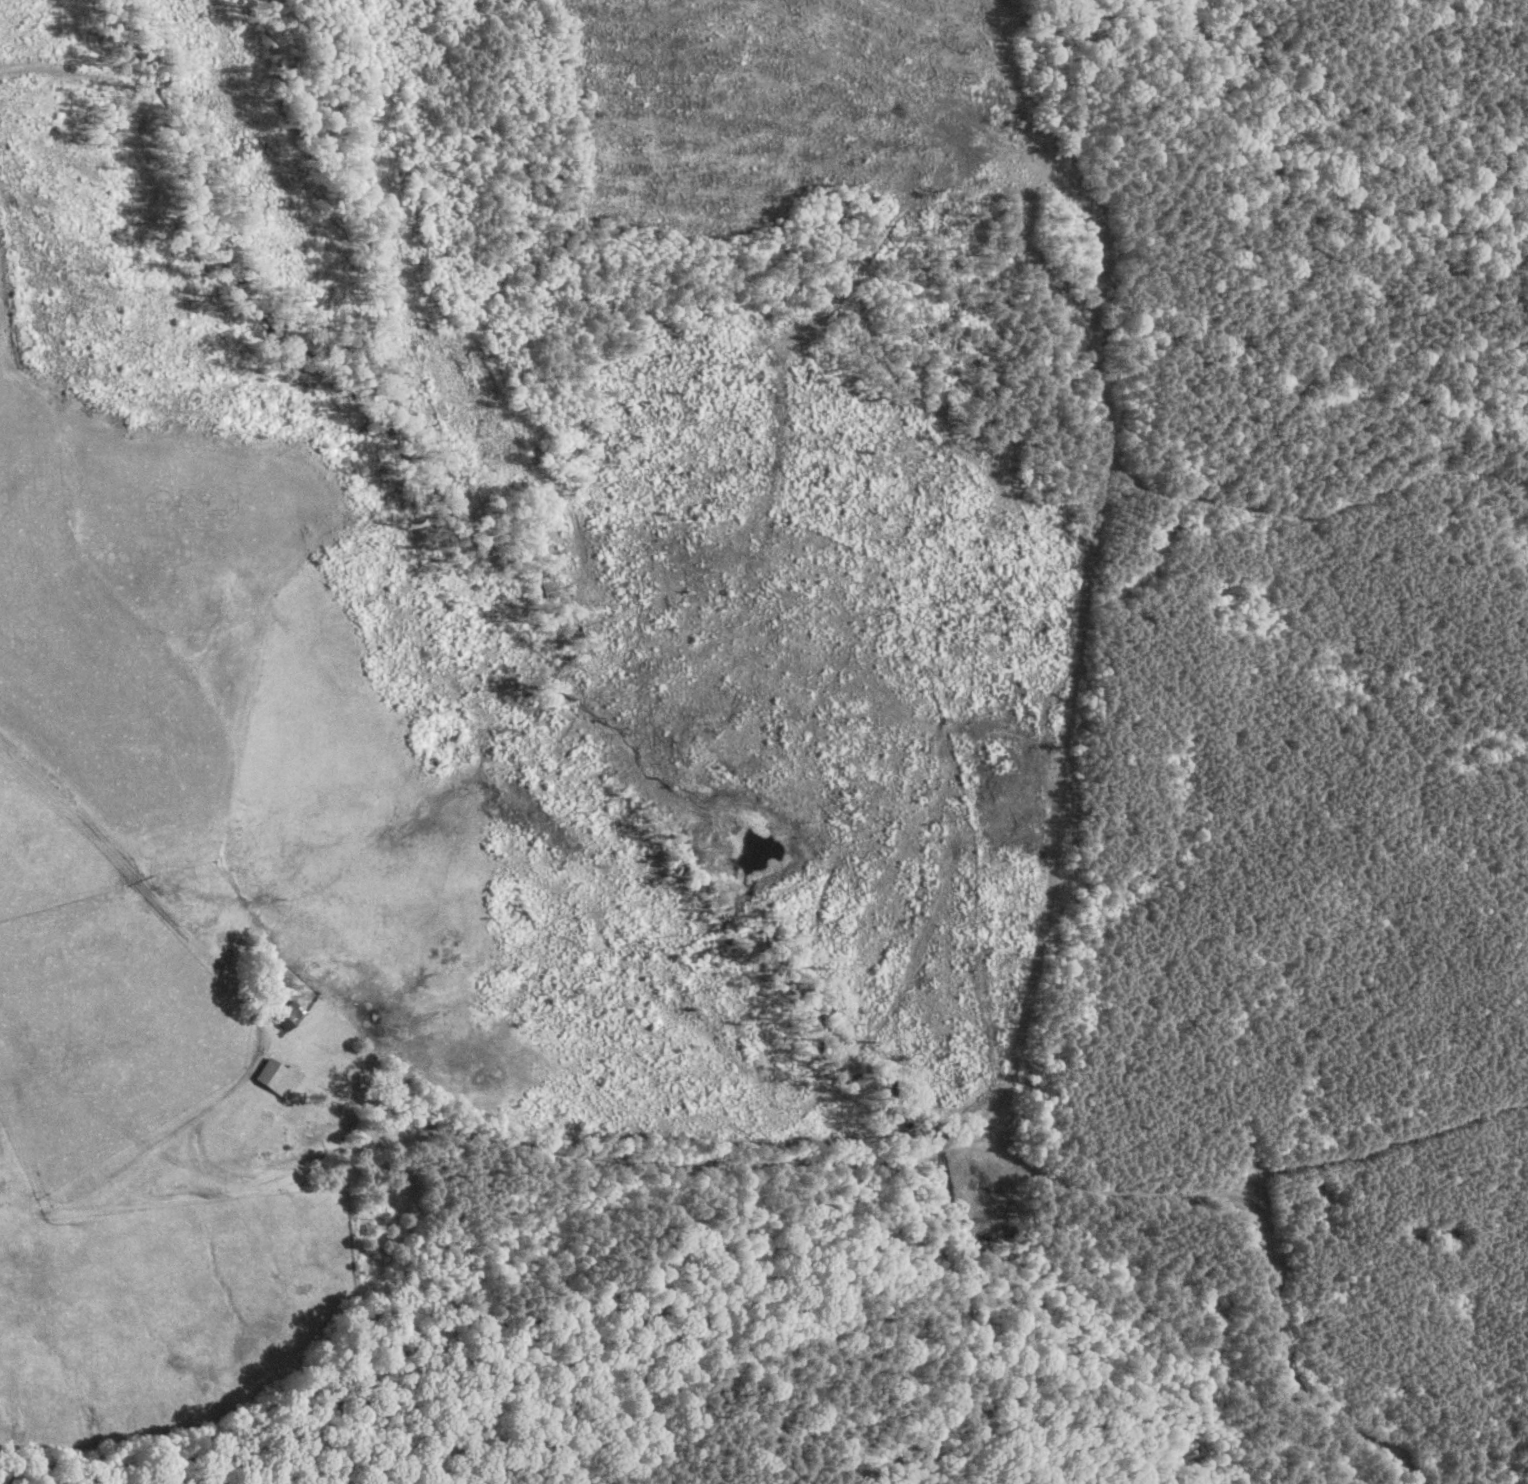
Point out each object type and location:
road: (66, 928)
building: (286, 1015)
building: (265, 1075)
road: (716, 1173)

